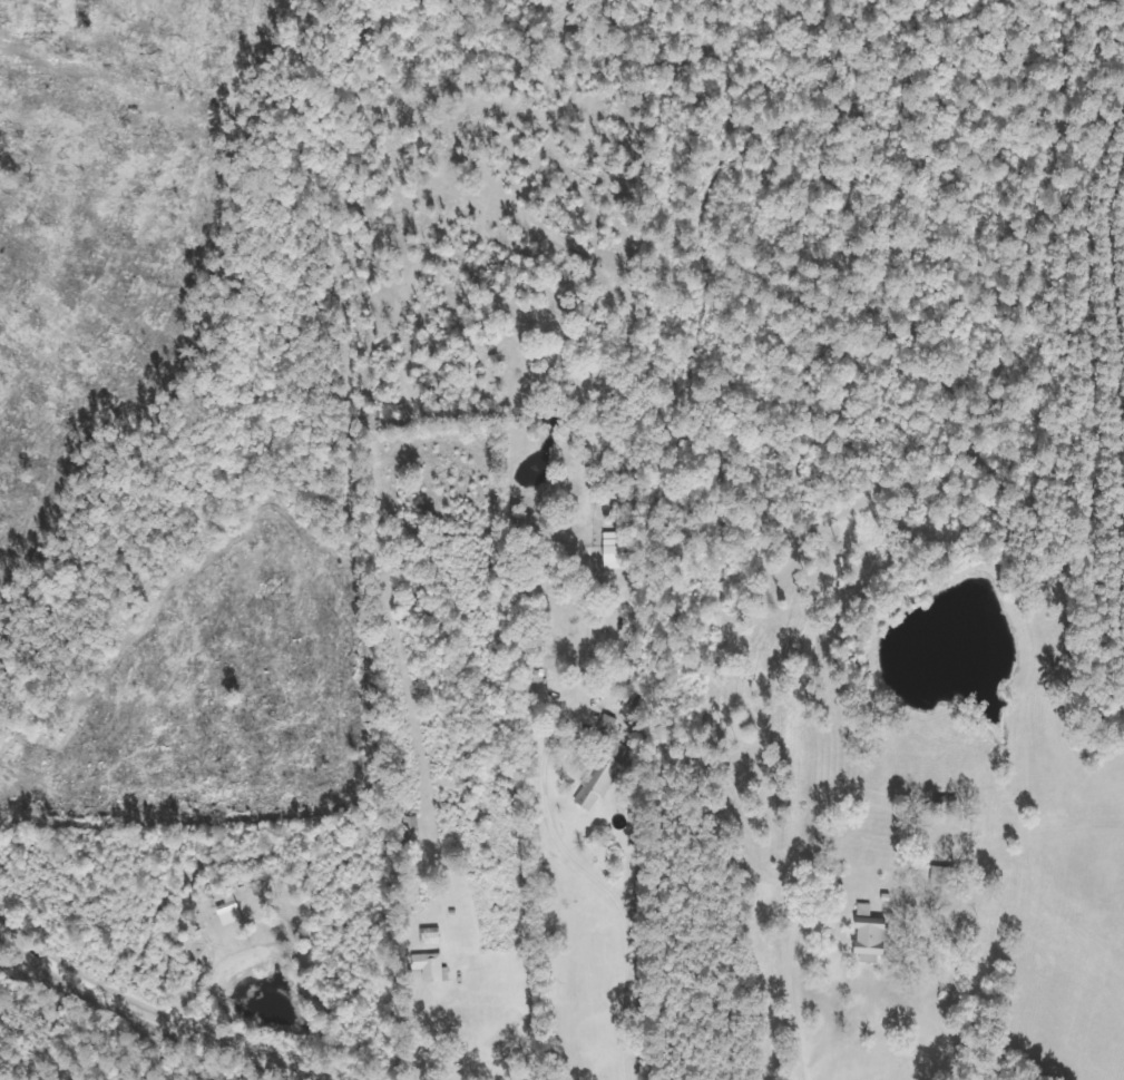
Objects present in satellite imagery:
building: (593, 780)
building: (940, 805)
building: (937, 875)
road: (636, 920)
building: (428, 935)
building: (862, 940)
road: (39, 956)
road: (820, 1000)
road: (33, 1024)
road: (189, 1027)

